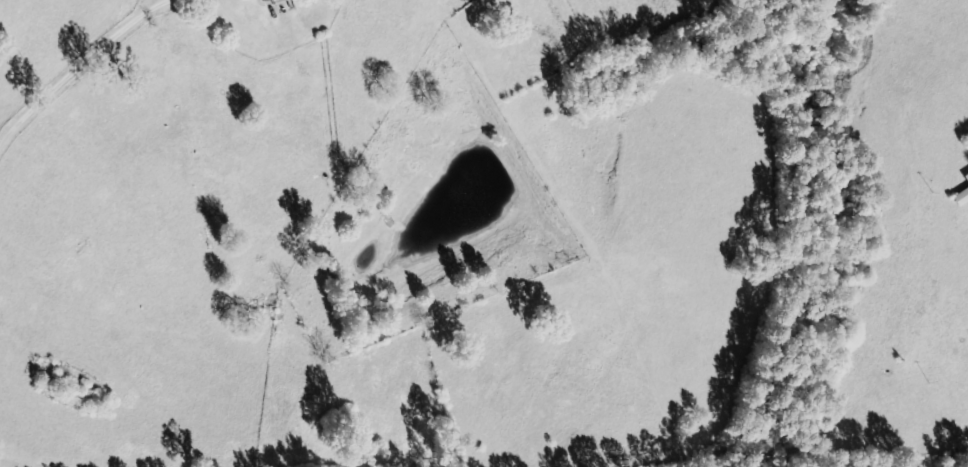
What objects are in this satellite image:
building: (266, 1)
road: (88, 74)
road: (942, 334)

